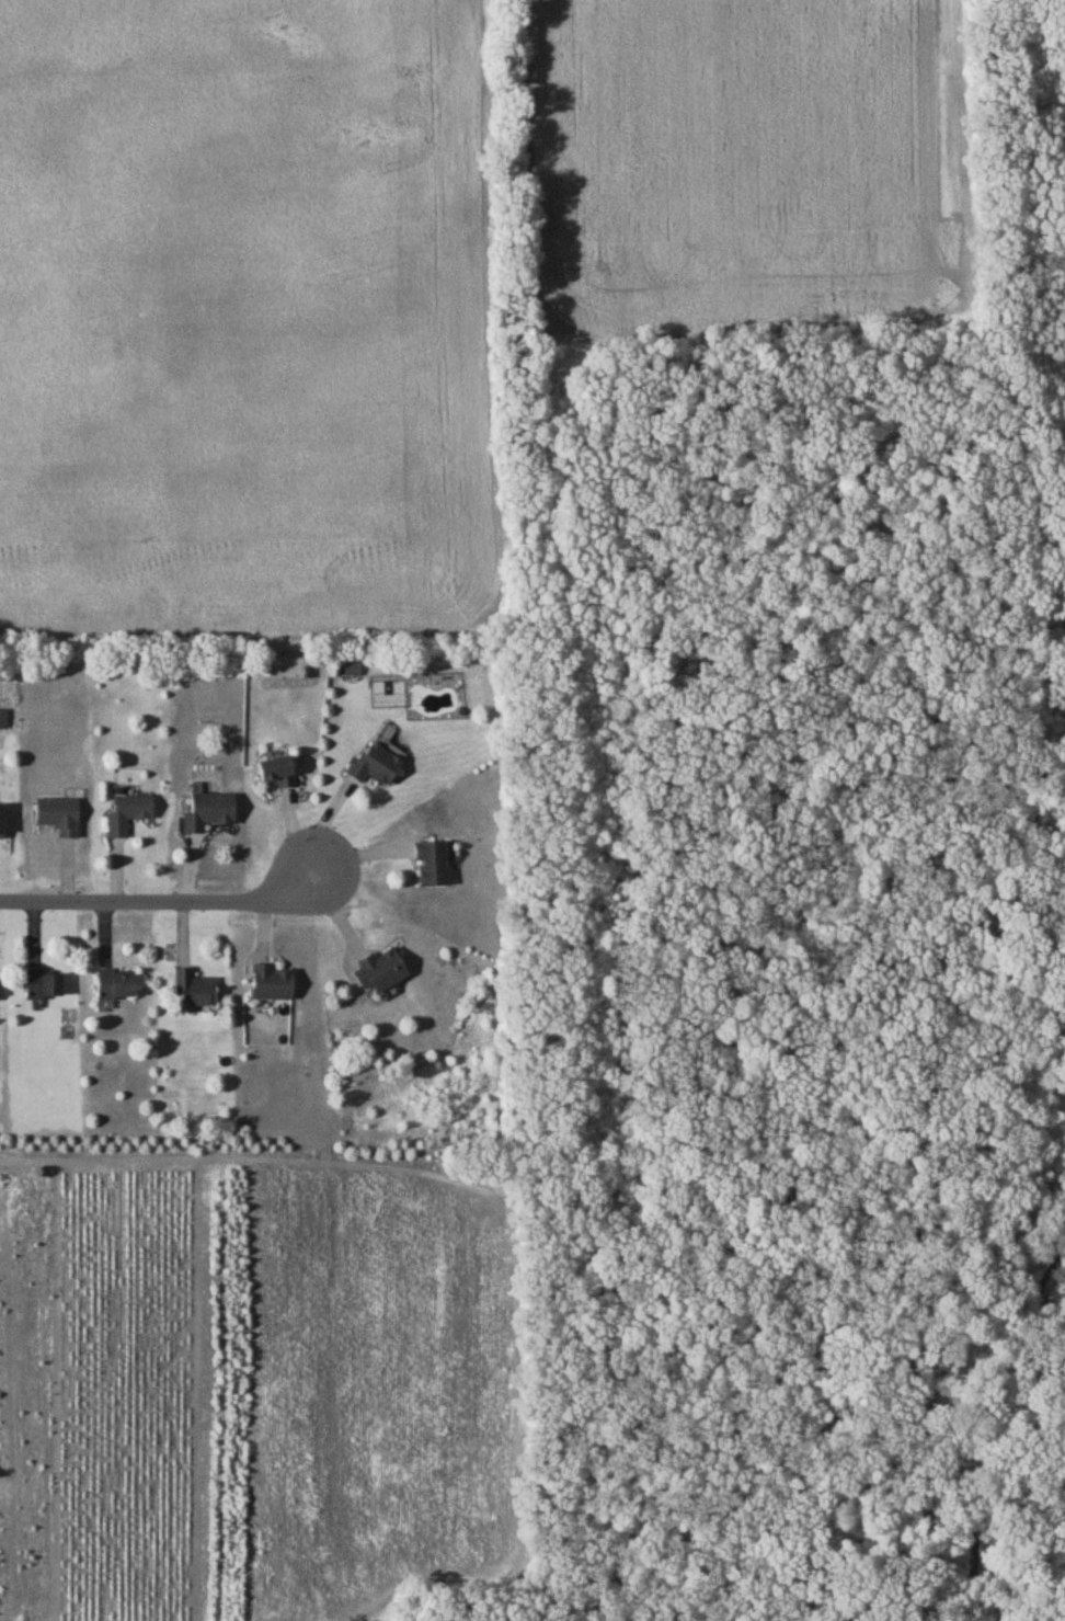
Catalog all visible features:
building: (352, 665)
building: (377, 757)
building: (276, 769)
building: (207, 809)
building: (127, 811)
building: (57, 813)
building: (1, 819)
building: (432, 861)
road: (161, 903)
building: (379, 969)
building: (271, 981)
building: (41, 982)
building: (112, 984)
building: (191, 989)
road: (92, 1156)

